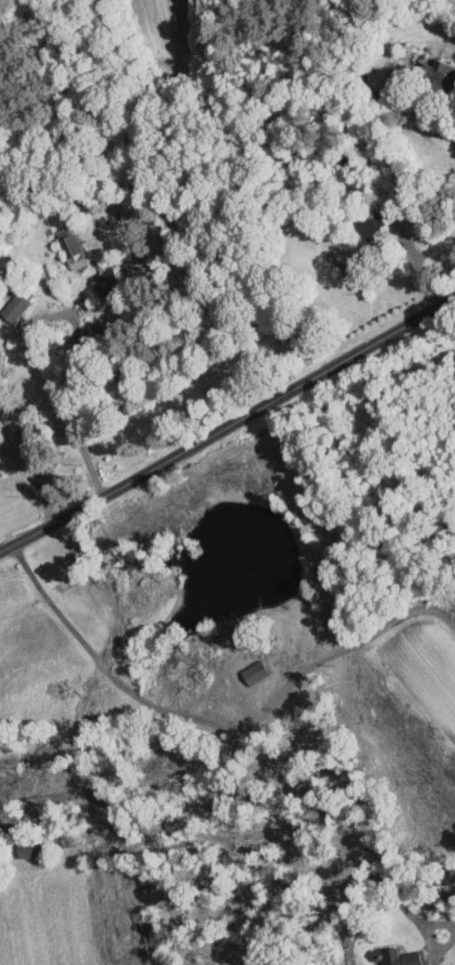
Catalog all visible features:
road: (434, 124)
building: (71, 251)
road: (278, 265)
building: (13, 306)
road: (41, 356)
road: (140, 393)
road: (228, 424)
road: (27, 455)
road: (341, 650)
road: (105, 665)
road: (366, 809)

